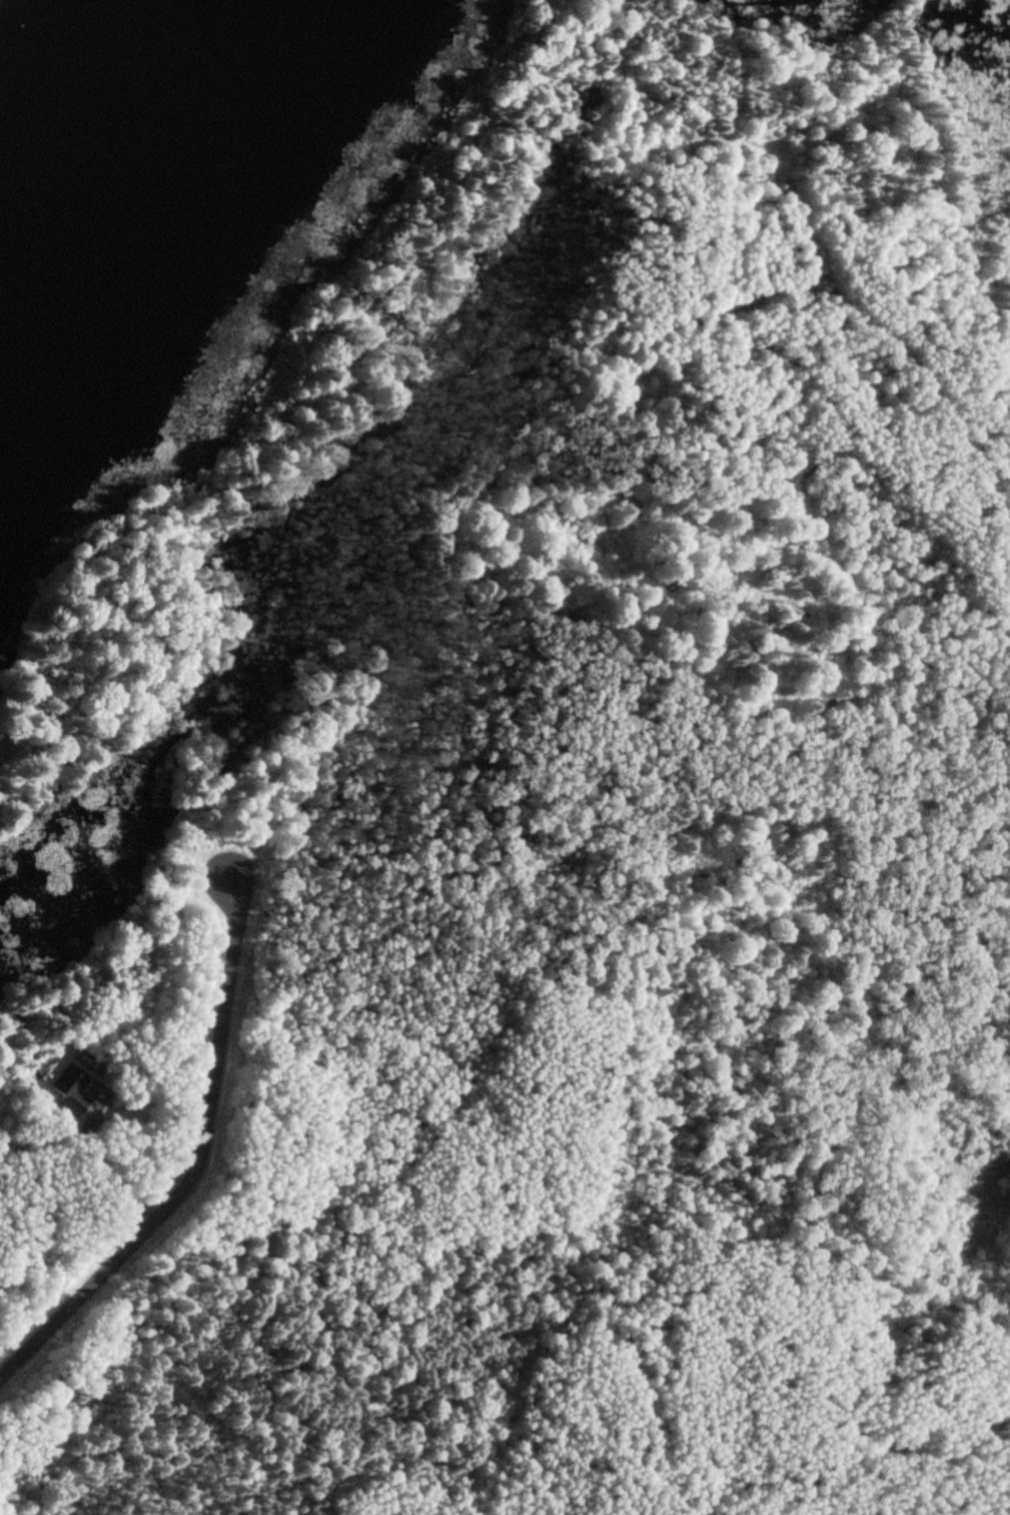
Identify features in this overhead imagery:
river: (128, 167)
building: (69, 1089)
road: (194, 1169)

